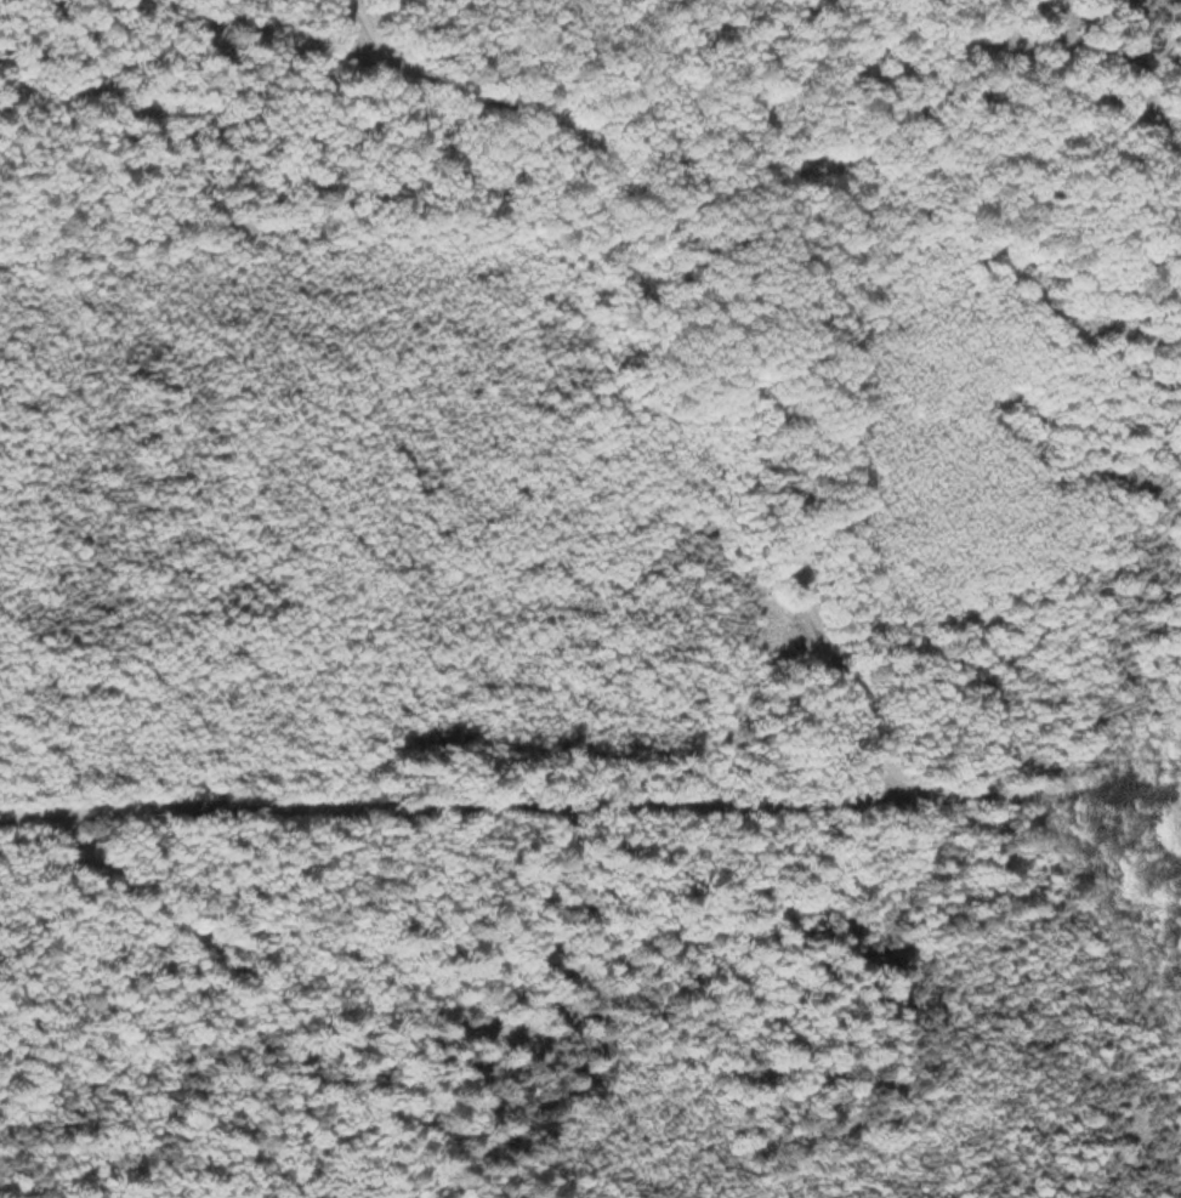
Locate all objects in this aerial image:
road: (729, 336)
road: (590, 807)

